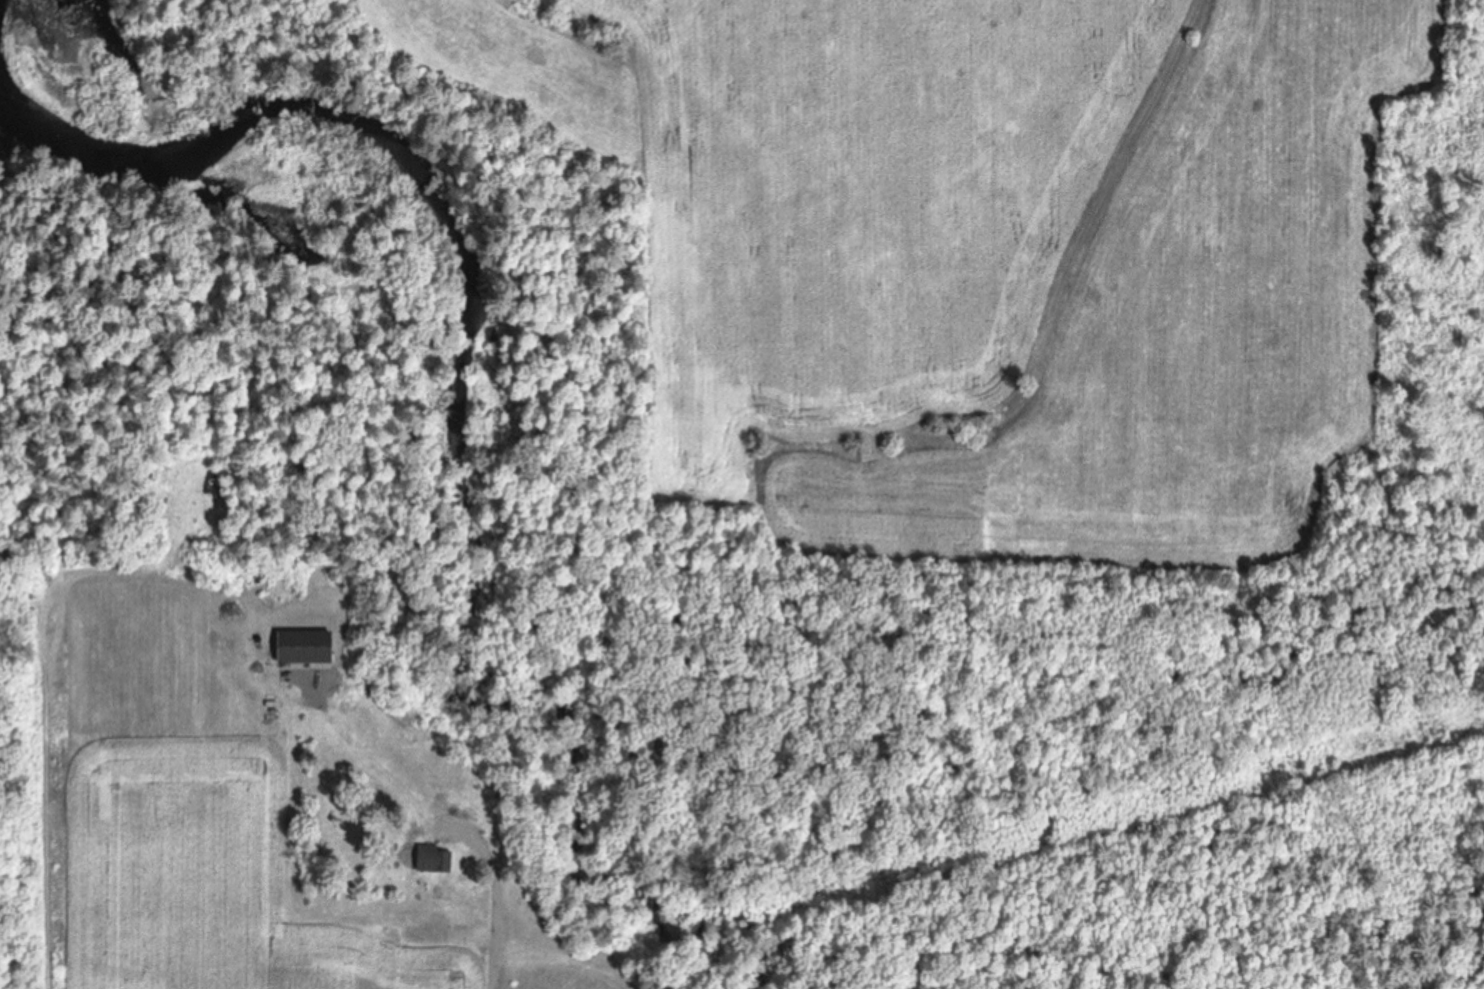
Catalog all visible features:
building: (470, 802)
road: (500, 892)

